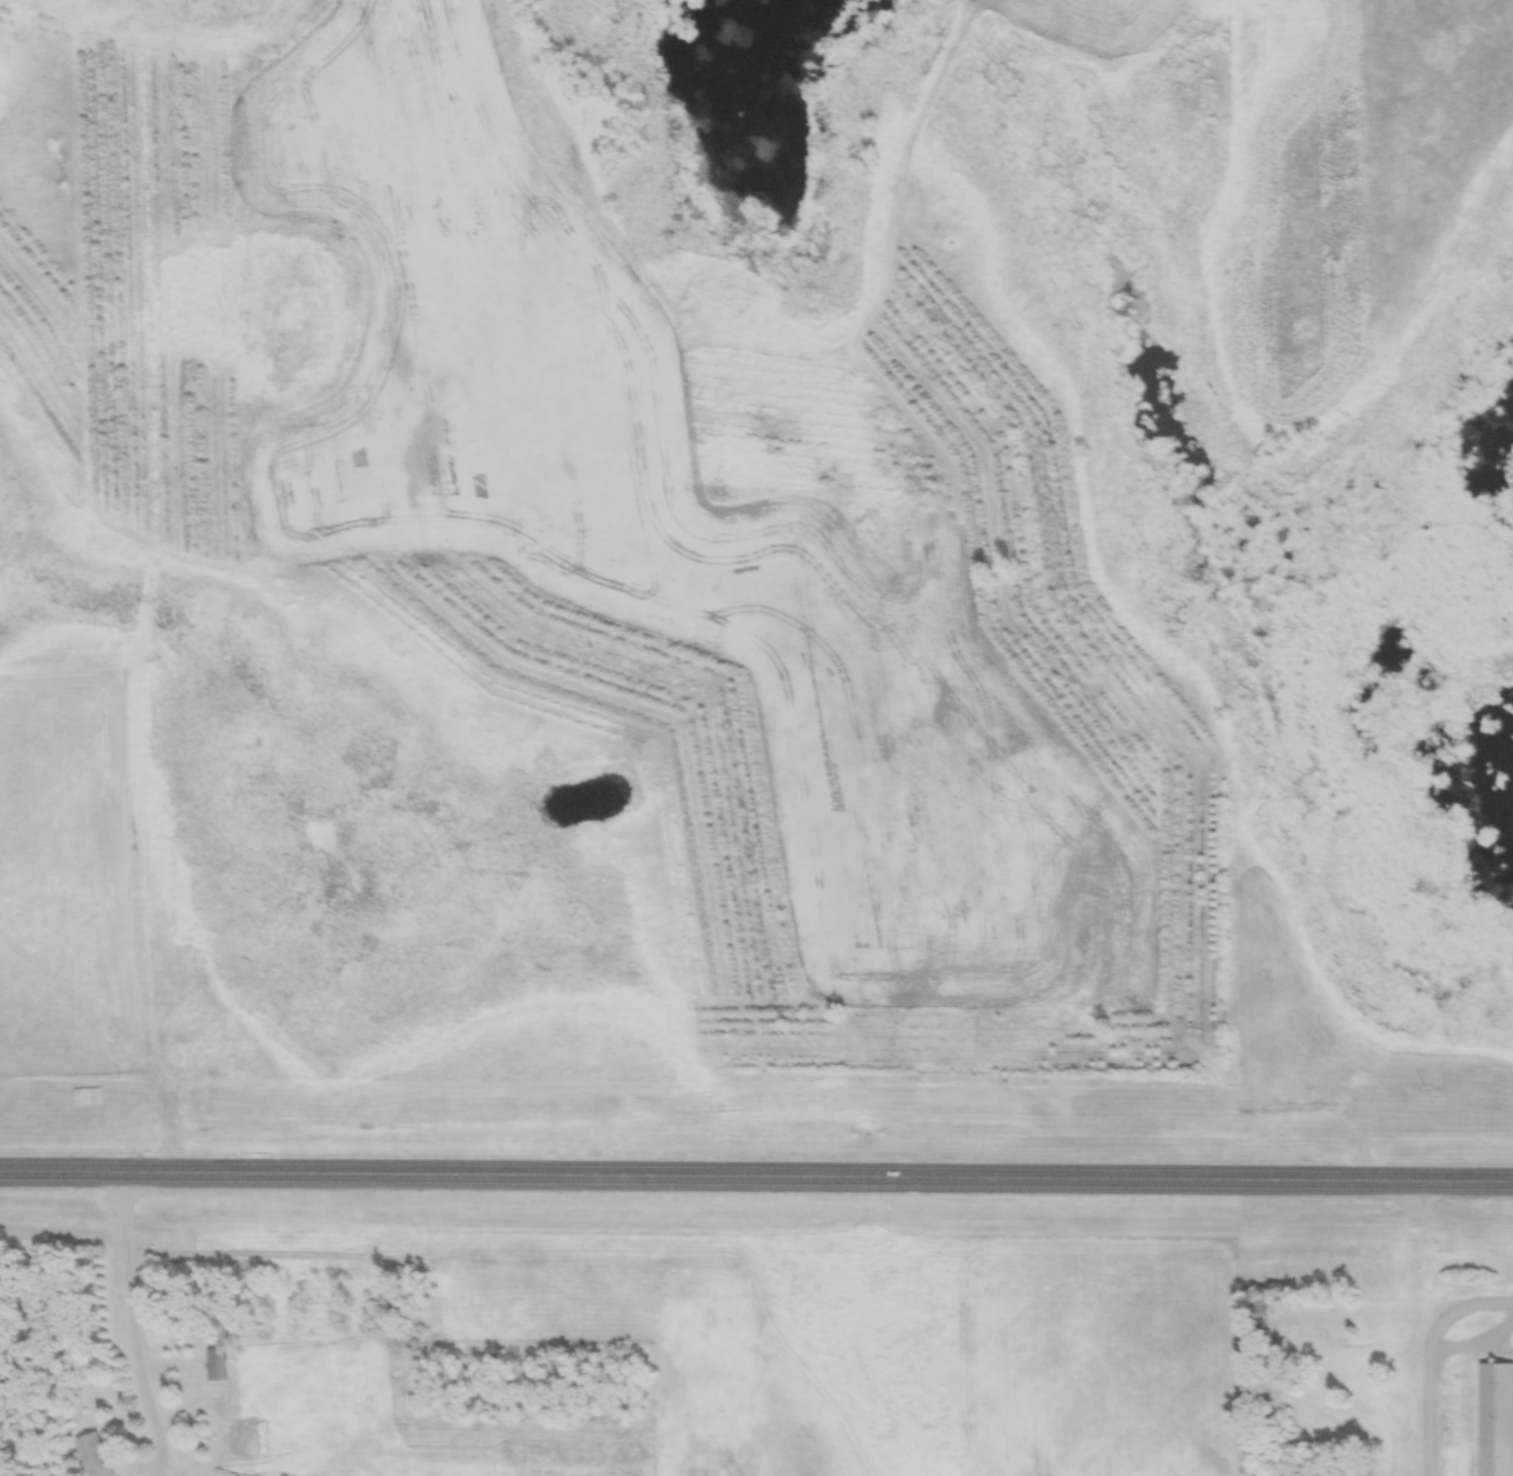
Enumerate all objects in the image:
road: (756, 1173)
road: (129, 1324)
building: (1311, 1337)
building: (217, 1366)
building: (1498, 1448)
building: (94, 1456)

